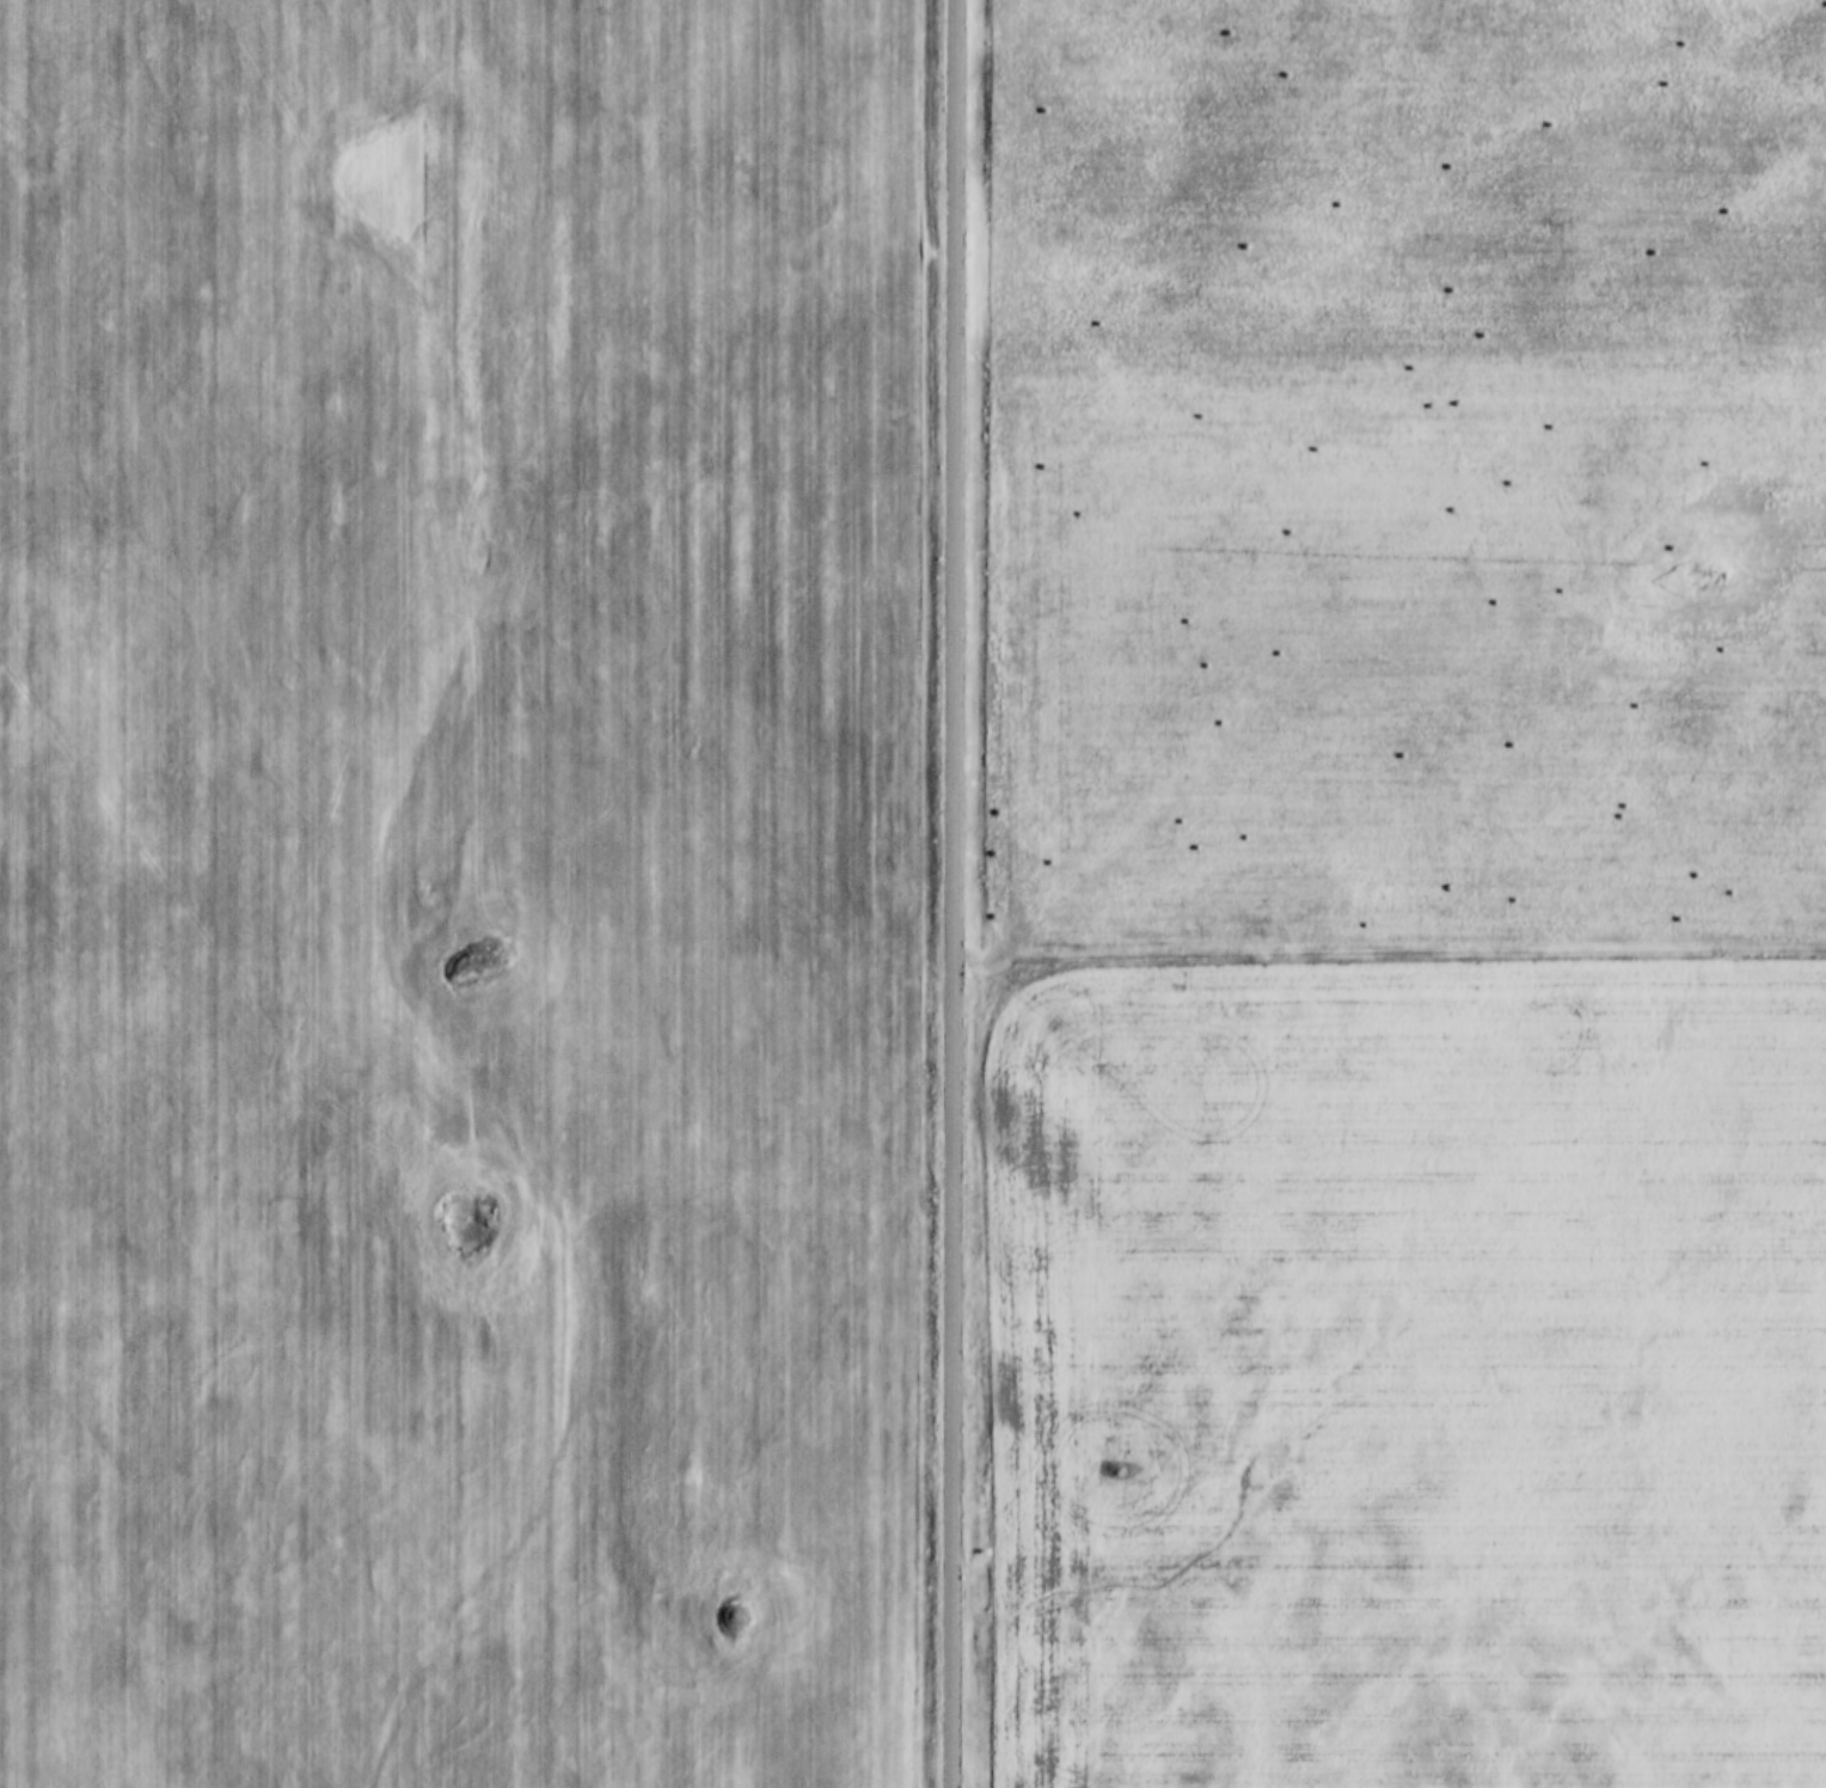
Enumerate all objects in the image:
road: (952, 893)

